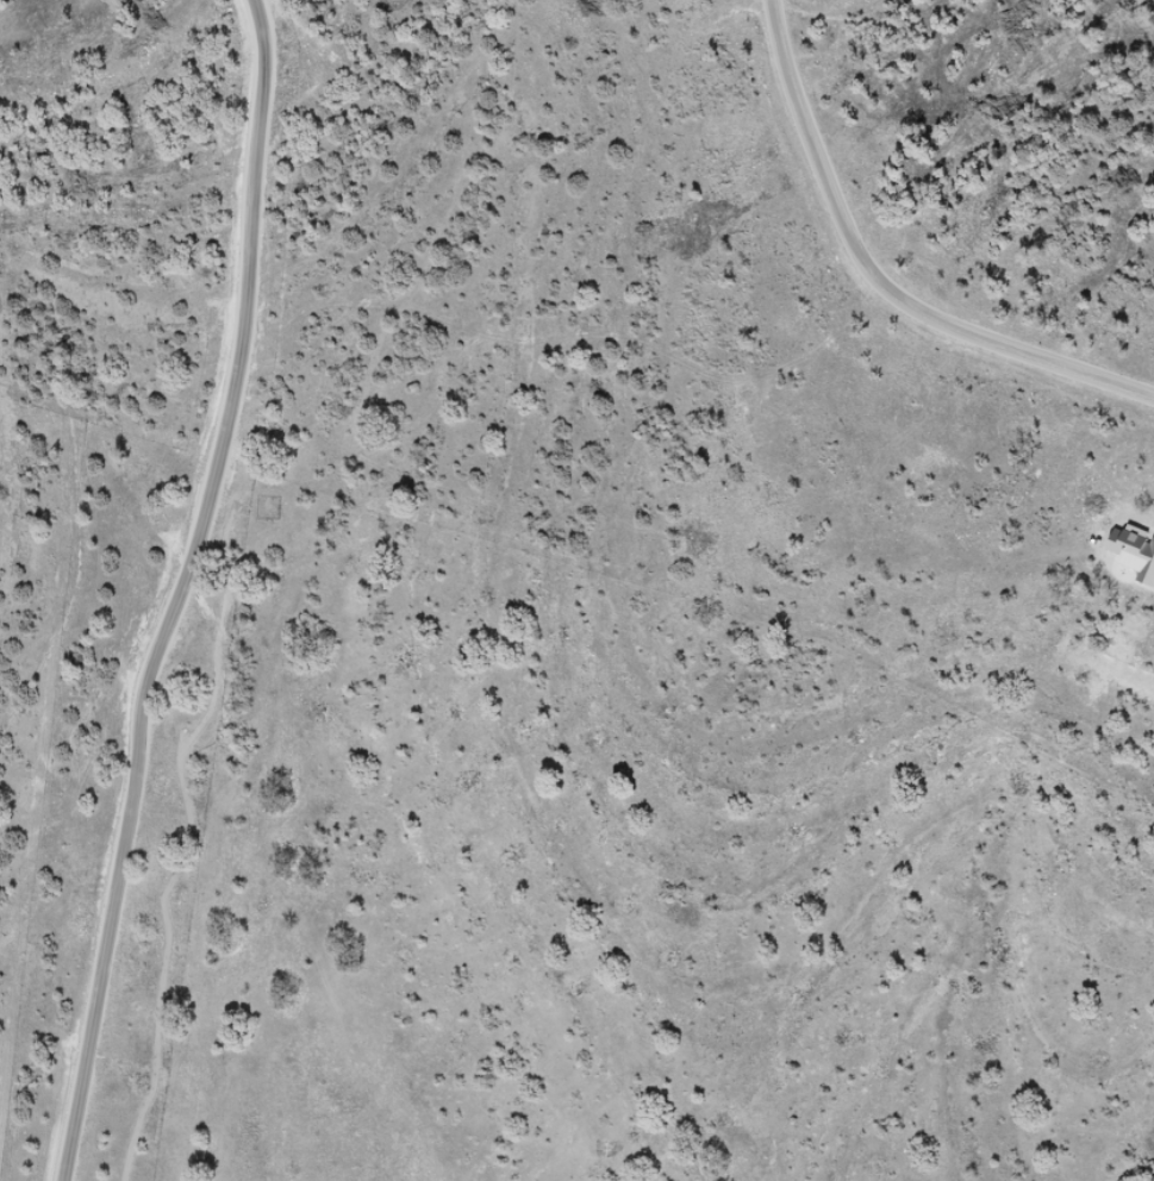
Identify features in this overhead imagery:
road: (878, 276)
road: (180, 592)

